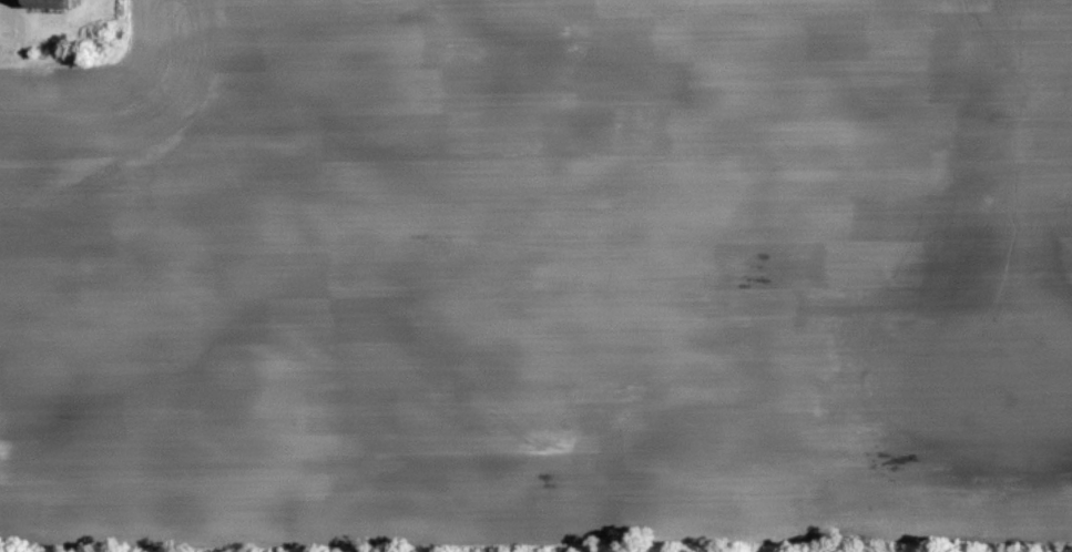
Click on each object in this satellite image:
building: (44, 3)

